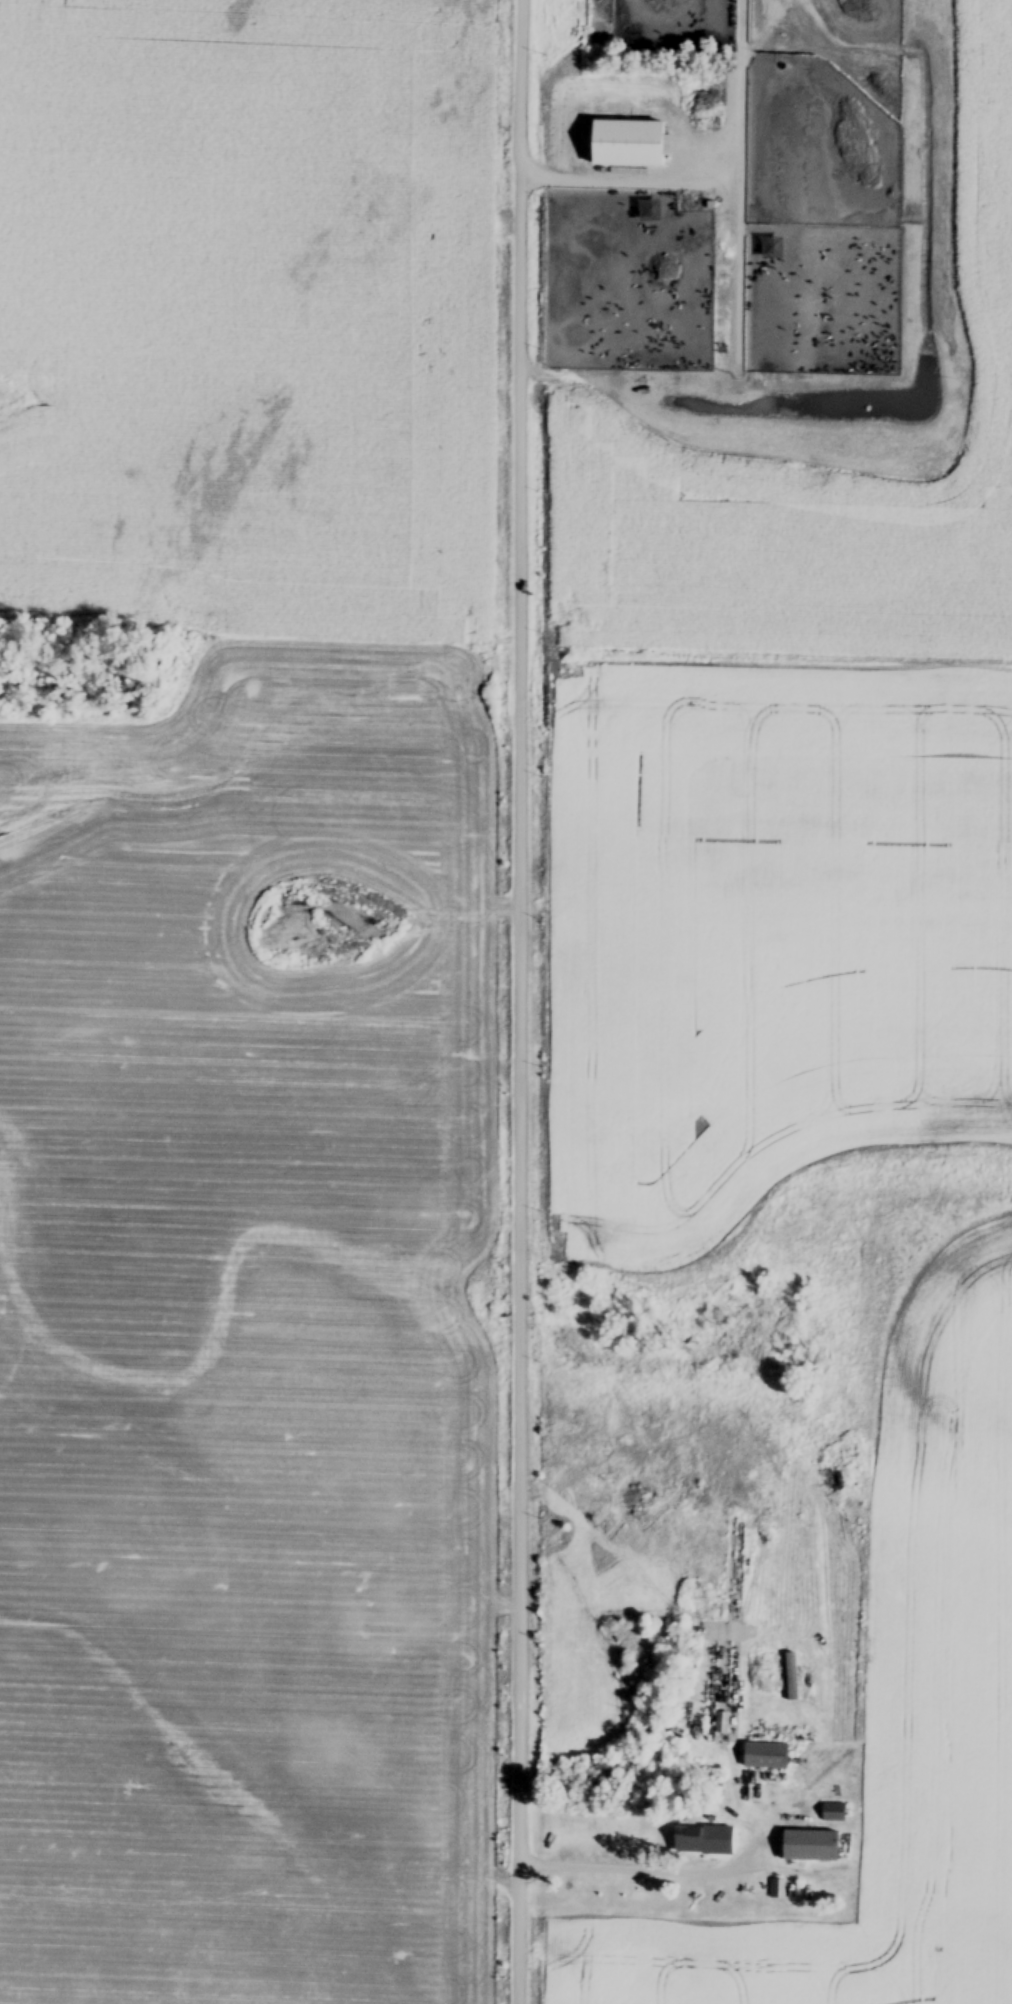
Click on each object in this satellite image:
road: (709, 180)
road: (522, 1001)
building: (765, 1756)
building: (833, 1813)
building: (809, 1847)

